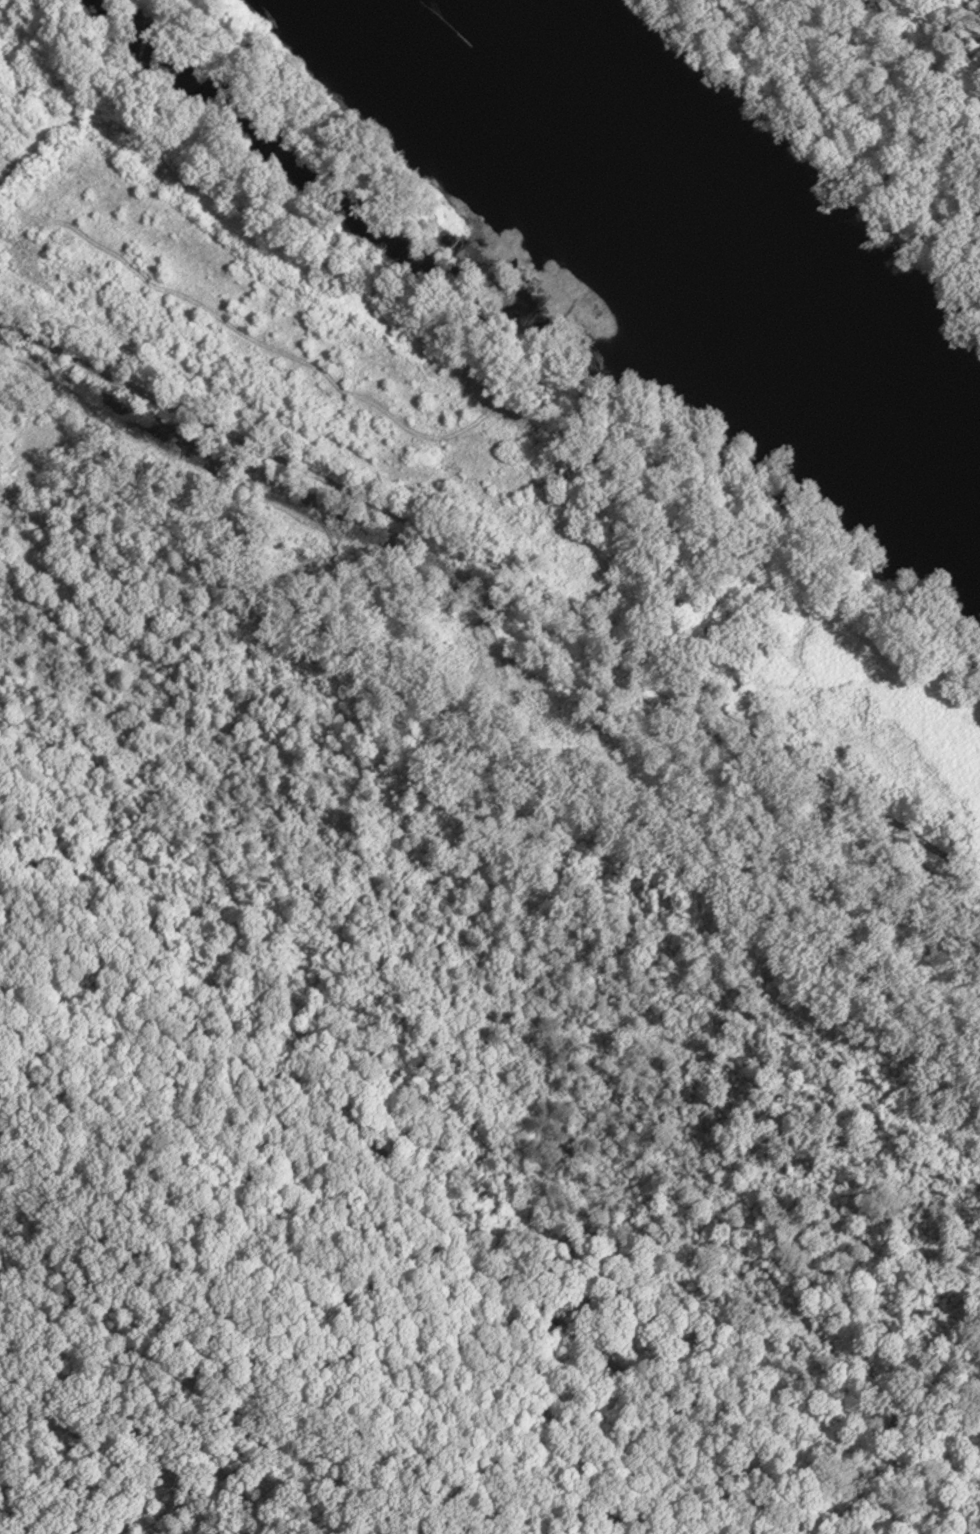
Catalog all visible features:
river: (715, 237)
road: (506, 573)
road: (408, 1173)

